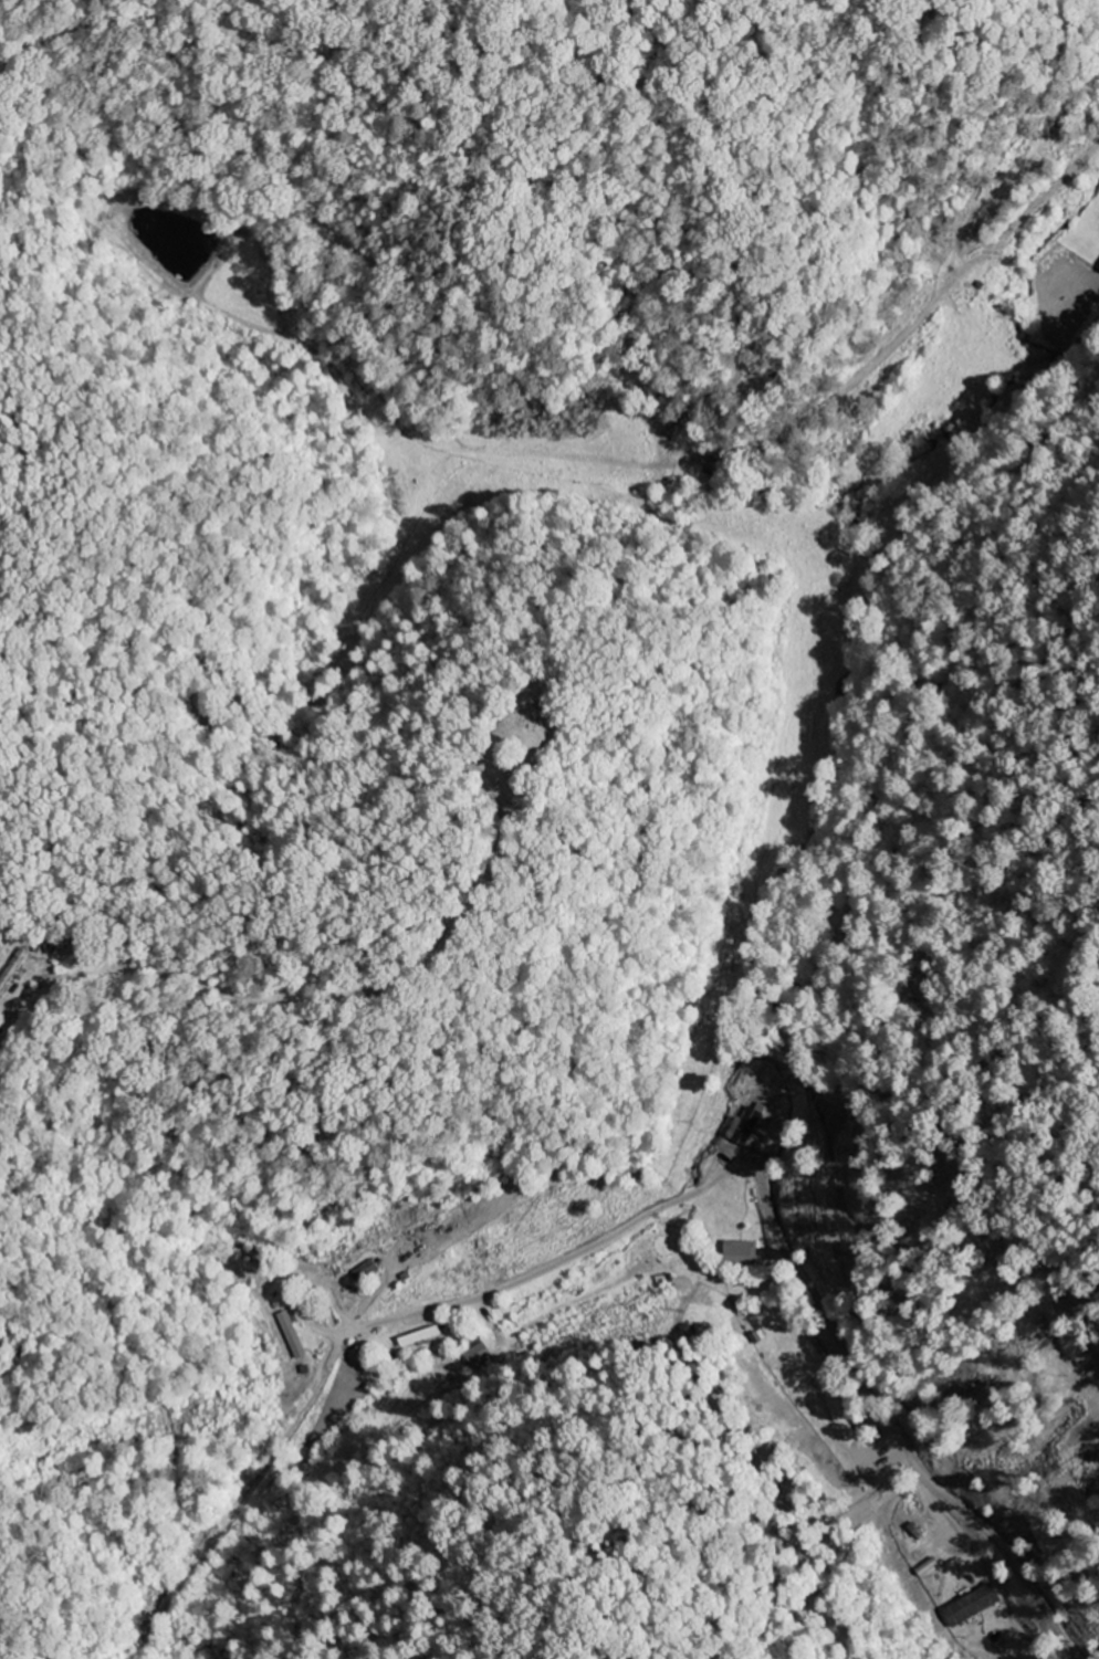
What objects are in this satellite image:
road: (71, 185)
building: (737, 1253)
building: (290, 1334)
building: (473, 1356)
building: (967, 1607)

